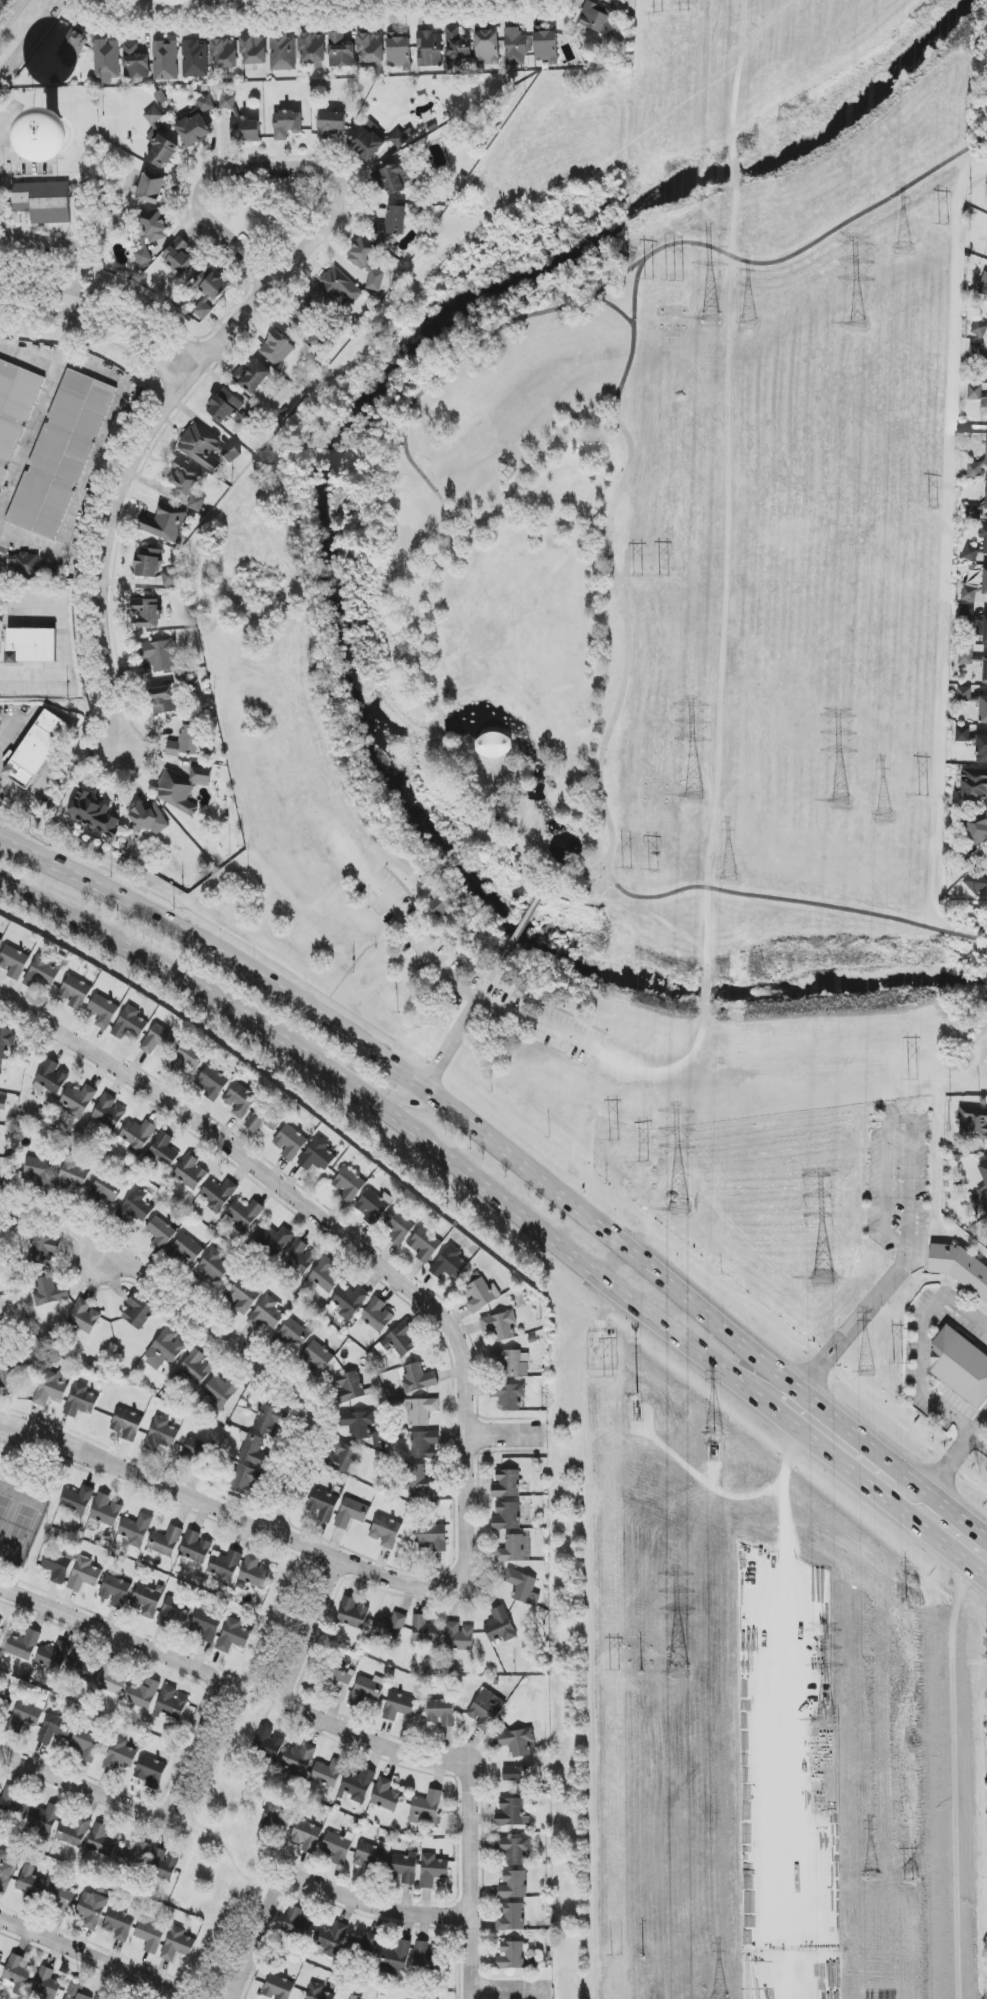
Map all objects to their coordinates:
road: (421, 0)
road: (178, 5)
road: (272, 7)
power tower: (684, 9)
power tower: (659, 11)
road: (13, 16)
building: (598, 18)
road: (36, 46)
building: (517, 46)
building: (546, 46)
building: (458, 47)
building: (371, 48)
building: (487, 48)
building: (72, 49)
building: (313, 49)
building: (429, 49)
building: (254, 50)
building: (340, 51)
building: (399, 51)
building: (283, 52)
building: (224, 54)
building: (195, 59)
building: (106, 61)
building: (165, 61)
building: (135, 62)
building: (228, 103)
building: (287, 124)
building: (331, 124)
park: (675, 125)
building: (194, 130)
building: (245, 130)
building: (398, 139)
building: (160, 142)
building: (367, 143)
road: (9, 158)
road: (205, 174)
building: (396, 178)
building: (0, 186)
building: (151, 188)
building: (42, 202)
building: (392, 223)
power tower: (944, 226)
building: (151, 235)
road: (73, 249)
power tower: (903, 249)
building: (179, 257)
building: (368, 262)
road: (627, 269)
power tower: (675, 279)
power tower: (648, 281)
building: (338, 287)
building: (984, 288)
building: (209, 295)
road: (615, 311)
building: (304, 313)
road: (102, 315)
power tower: (711, 320)
power tower: (749, 325)
power tower: (858, 325)
building: (980, 329)
building: (277, 349)
building: (976, 350)
building: (252, 377)
building: (975, 392)
road: (39, 404)
building: (226, 407)
building: (14, 410)
road: (135, 430)
building: (200, 447)
building: (232, 454)
building: (61, 455)
building: (986, 456)
road: (537, 461)
road: (92, 462)
building: (976, 469)
building: (187, 482)
building: (986, 497)
power tower: (933, 511)
building: (972, 512)
building: (166, 523)
road: (475, 524)
building: (985, 543)
road: (609, 562)
building: (149, 563)
building: (23, 564)
power tower: (664, 573)
power tower: (639, 575)
building: (170, 578)
building: (985, 581)
building: (970, 594)
building: (148, 612)
building: (967, 613)
road: (417, 619)
building: (985, 630)
building: (32, 645)
road: (65, 646)
park: (631, 652)
building: (162, 655)
building: (985, 671)
building: (964, 693)
building: (164, 700)
building: (983, 710)
road: (441, 728)
building: (963, 735)
building: (186, 742)
building: (494, 745)
building: (37, 749)
building: (981, 749)
building: (974, 784)
building: (184, 788)
power tower: (923, 795)
power tower: (694, 796)
power tower: (841, 801)
building: (93, 814)
power tower: (884, 814)
building: (148, 819)
building: (977, 829)
building: (963, 858)
power tower: (625, 869)
power tower: (654, 870)
road: (608, 872)
power tower: (729, 880)
building: (975, 882)
road: (545, 885)
road: (683, 889)
building: (439, 907)
road: (518, 930)
road: (704, 932)
building: (0, 939)
building: (13, 962)
road: (160, 967)
building: (42, 973)
road: (489, 977)
road: (469, 988)
building: (76, 993)
road: (703, 993)
building: (103, 1012)
building: (130, 1023)
building: (160, 1040)
building: (6, 1041)
road: (449, 1041)
building: (186, 1059)
road: (330, 1069)
building: (0, 1071)
road: (666, 1071)
building: (51, 1077)
power tower: (914, 1079)
building: (212, 1082)
road: (384, 1091)
building: (78, 1100)
building: (240, 1100)
building: (3, 1104)
building: (109, 1112)
building: (262, 1121)
building: (973, 1123)
building: (136, 1136)
building: (290, 1142)
power tower: (614, 1142)
building: (163, 1150)
building: (318, 1155)
road: (512, 1160)
power tower: (644, 1161)
building: (38, 1171)
building: (983, 1171)
building: (190, 1172)
building: (73, 1175)
building: (349, 1185)
building: (106, 1189)
building: (218, 1194)
road: (912, 1194)
building: (978, 1202)
building: (374, 1206)
building: (138, 1207)
power tower: (679, 1210)
building: (244, 1215)
building: (403, 1220)
building: (396, 1231)
building: (160, 1234)
road: (338, 1234)
building: (279, 1240)
building: (425, 1245)
road: (556, 1245)
building: (45, 1248)
building: (187, 1250)
building: (300, 1254)
building: (449, 1264)
building: (212, 1267)
building: (958, 1268)
building: (323, 1277)
power tower: (823, 1279)
building: (49, 1292)
building: (480, 1295)
building: (350, 1302)
building: (138, 1312)
building: (267, 1314)
building: (377, 1315)
building: (85, 1317)
building: (500, 1325)
road: (221, 1333)
building: (294, 1335)
building: (399, 1341)
road: (924, 1346)
building: (165, 1350)
building: (1, 1353)
building: (317, 1358)
building: (511, 1363)
power tower: (902, 1363)
building: (960, 1366)
building: (418, 1378)
power tower: (608, 1378)
building: (7, 1383)
building: (51, 1387)
building: (349, 1387)
building: (221, 1392)
power tower: (637, 1395)
building: (509, 1396)
building: (81, 1400)
building: (423, 1411)
building: (270, 1420)
building: (127, 1424)
road: (980, 1424)
building: (363, 1427)
building: (162, 1434)
road: (502, 1436)
road: (804, 1437)
power tower: (714, 1438)
road: (980, 1441)
building: (425, 1444)
power tower: (858, 1447)
building: (253, 1451)
building: (195, 1453)
building: (344, 1458)
road: (949, 1463)
building: (247, 1481)
building: (421, 1481)
road: (883, 1481)
building: (506, 1484)
road: (731, 1496)
building: (78, 1500)
building: (323, 1505)
building: (106, 1510)
building: (352, 1513)
road: (230, 1515)
building: (507, 1516)
road: (913, 1521)
road: (944, 1524)
building: (136, 1530)
building: (386, 1531)
building: (433, 1537)
road: (985, 1539)
building: (166, 1542)
building: (195, 1547)
building: (515, 1549)
building: (226, 1566)
building: (254, 1573)
building: (85, 1574)
building: (523, 1587)
building: (115, 1592)
power tower: (905, 1600)
building: (145, 1601)
building: (174, 1612)
building: (353, 1614)
building: (0, 1623)
building: (206, 1625)
building: (500, 1626)
building: (390, 1627)
building: (425, 1630)
road: (107, 1632)
building: (233, 1636)
building: (459, 1637)
building: (23, 1644)
building: (53, 1657)
building: (82, 1666)
power tower: (615, 1671)
power tower: (642, 1673)
power tower: (678, 1674)
road: (698, 1675)
building: (111, 1679)
building: (337, 1683)
building: (367, 1690)
road: (246, 1693)
building: (143, 1695)
building: (172, 1703)
building: (398, 1706)
building: (486, 1710)
building: (440, 1712)
building: (26, 1716)
power tower: (826, 1721)
building: (55, 1729)
road: (786, 1741)
building: (517, 1742)
building: (268, 1743)
building: (85, 1745)
building: (120, 1756)
road: (411, 1756)
building: (299, 1759)
building: (151, 1772)
building: (328, 1773)
building: (359, 1783)
building: (387, 1795)
building: (15, 1801)
building: (427, 1809)
road: (149, 1814)
building: (44, 1820)
building: (274, 1822)
building: (74, 1832)
building: (306, 1836)
building: (103, 1841)
building: (337, 1847)
building: (513, 1849)
road: (225, 1852)
building: (370, 1855)
building: (134, 1857)
building: (162, 1865)
building: (6, 1868)
building: (403, 1869)
building: (432, 1870)
power tower: (872, 1877)
building: (30, 1882)
power tower: (908, 1884)
building: (514, 1885)
road: (343, 1892)
building: (61, 1900)
building: (91, 1909)
building: (511, 1917)
building: (298, 1923)
building: (119, 1924)
building: (150, 1937)
building: (330, 1940)
building: (178, 1944)
road: (91, 1952)
building: (424, 1955)
building: (397, 1956)
power tower: (618, 1957)
building: (0, 1960)
road: (245, 1972)
building: (17, 1975)
building: (47, 1984)
building: (278, 1988)
building: (76, 1991)
building: (319, 1992)
road: (510, 1993)
building: (355, 1997)

